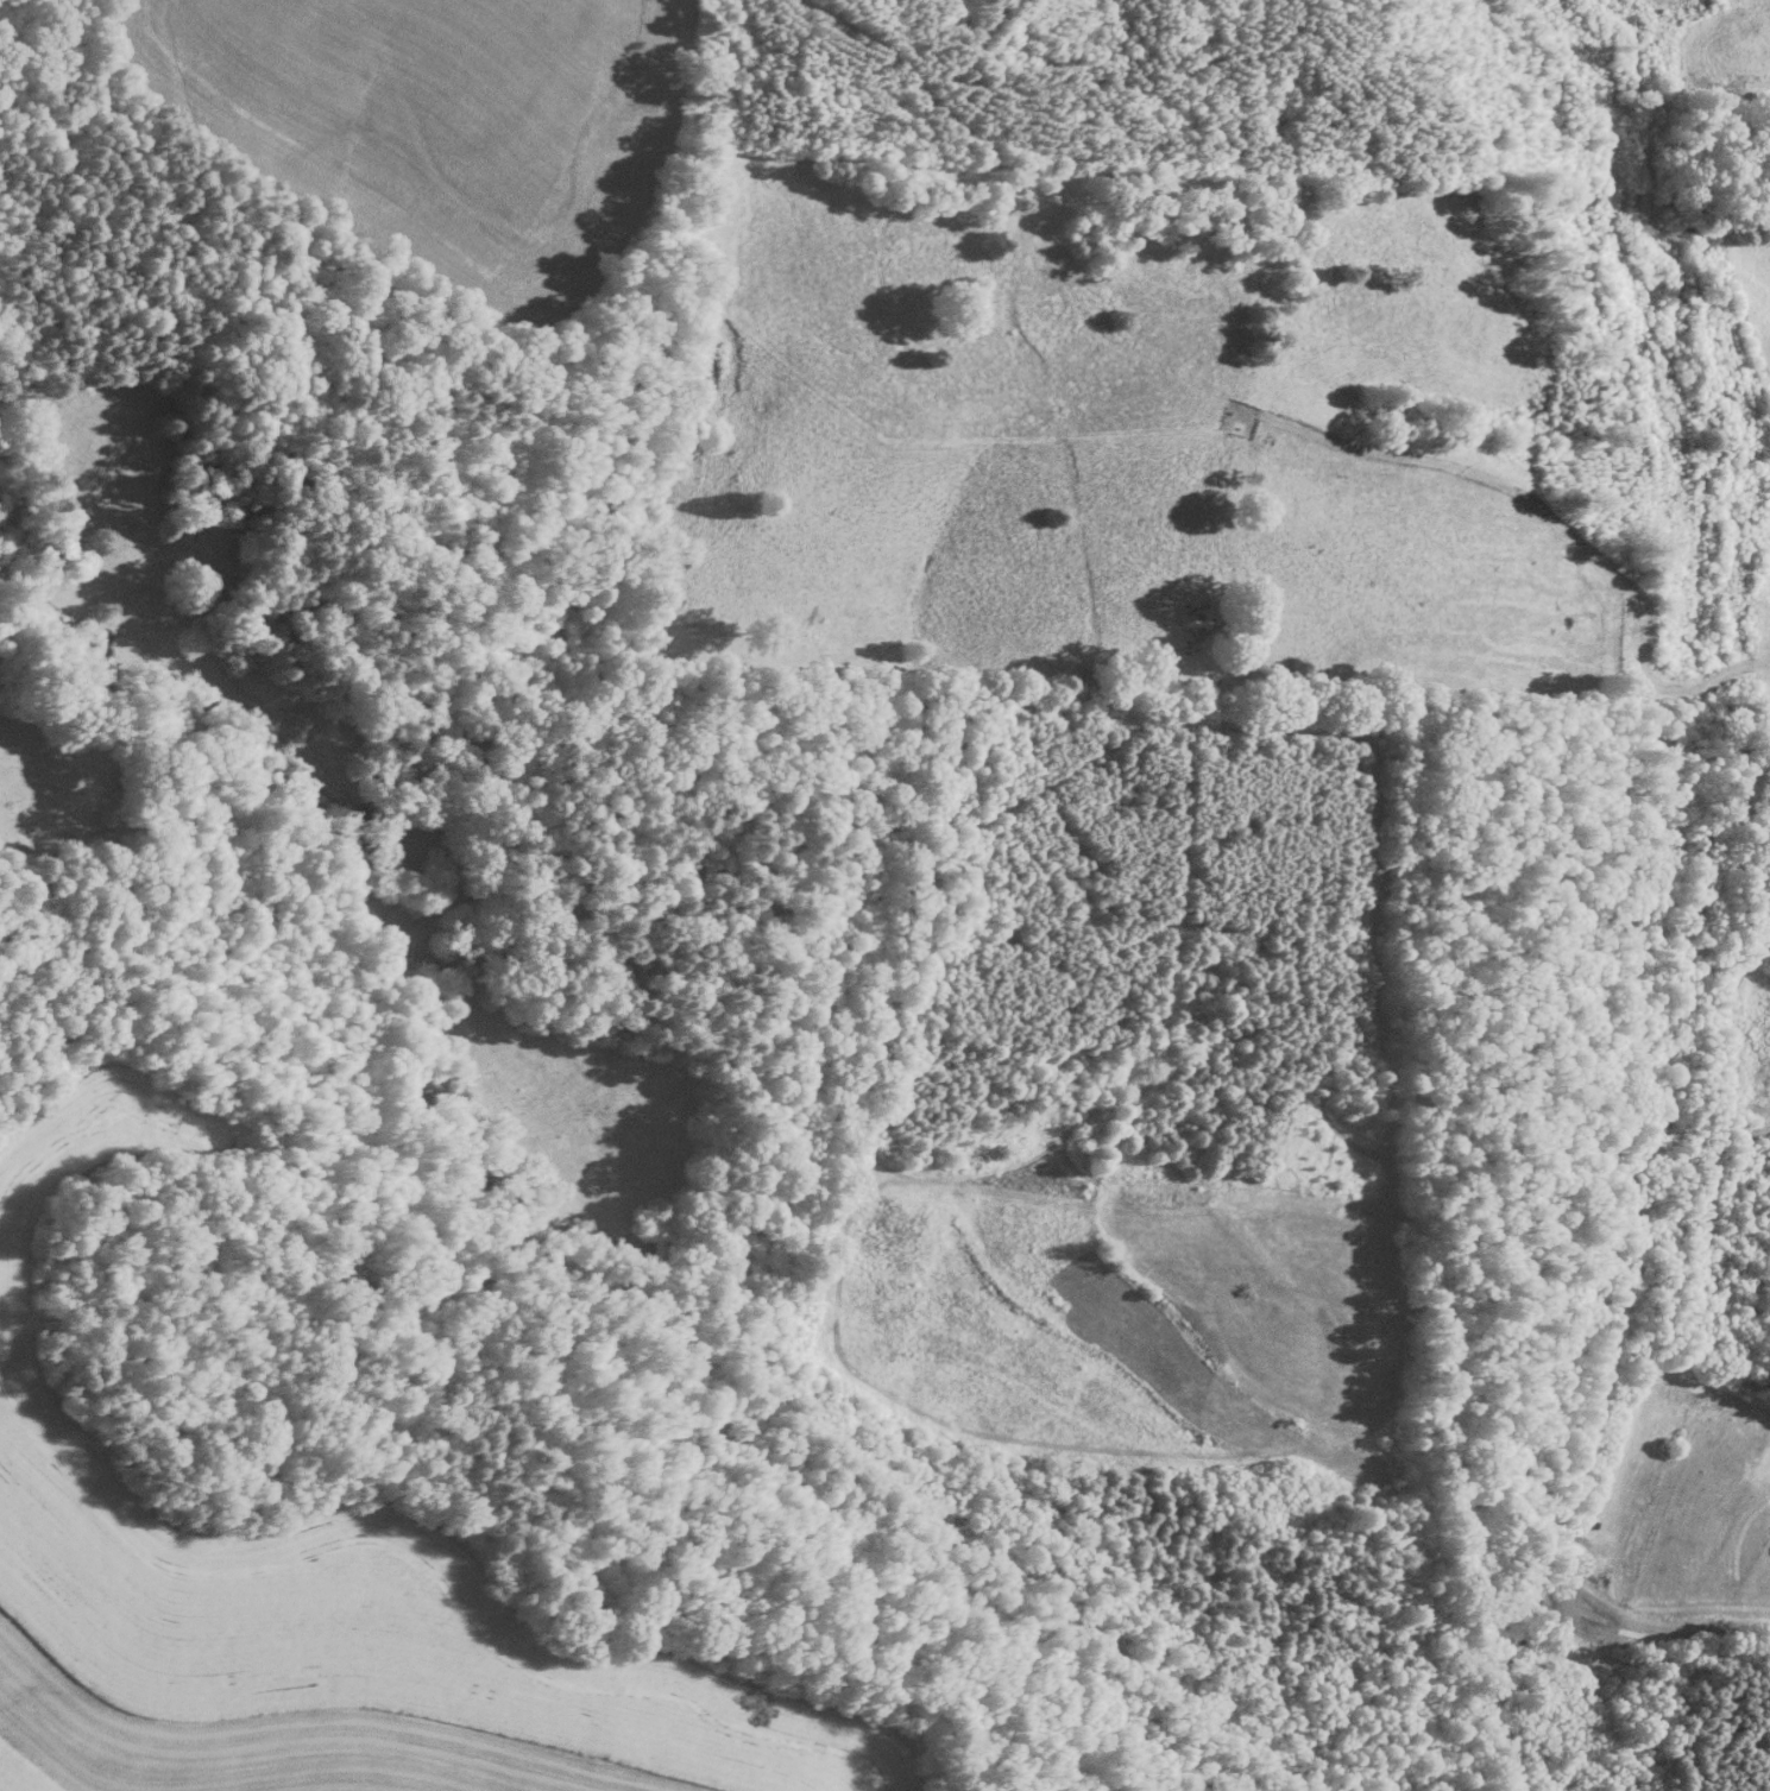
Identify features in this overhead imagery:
road: (947, 232)

